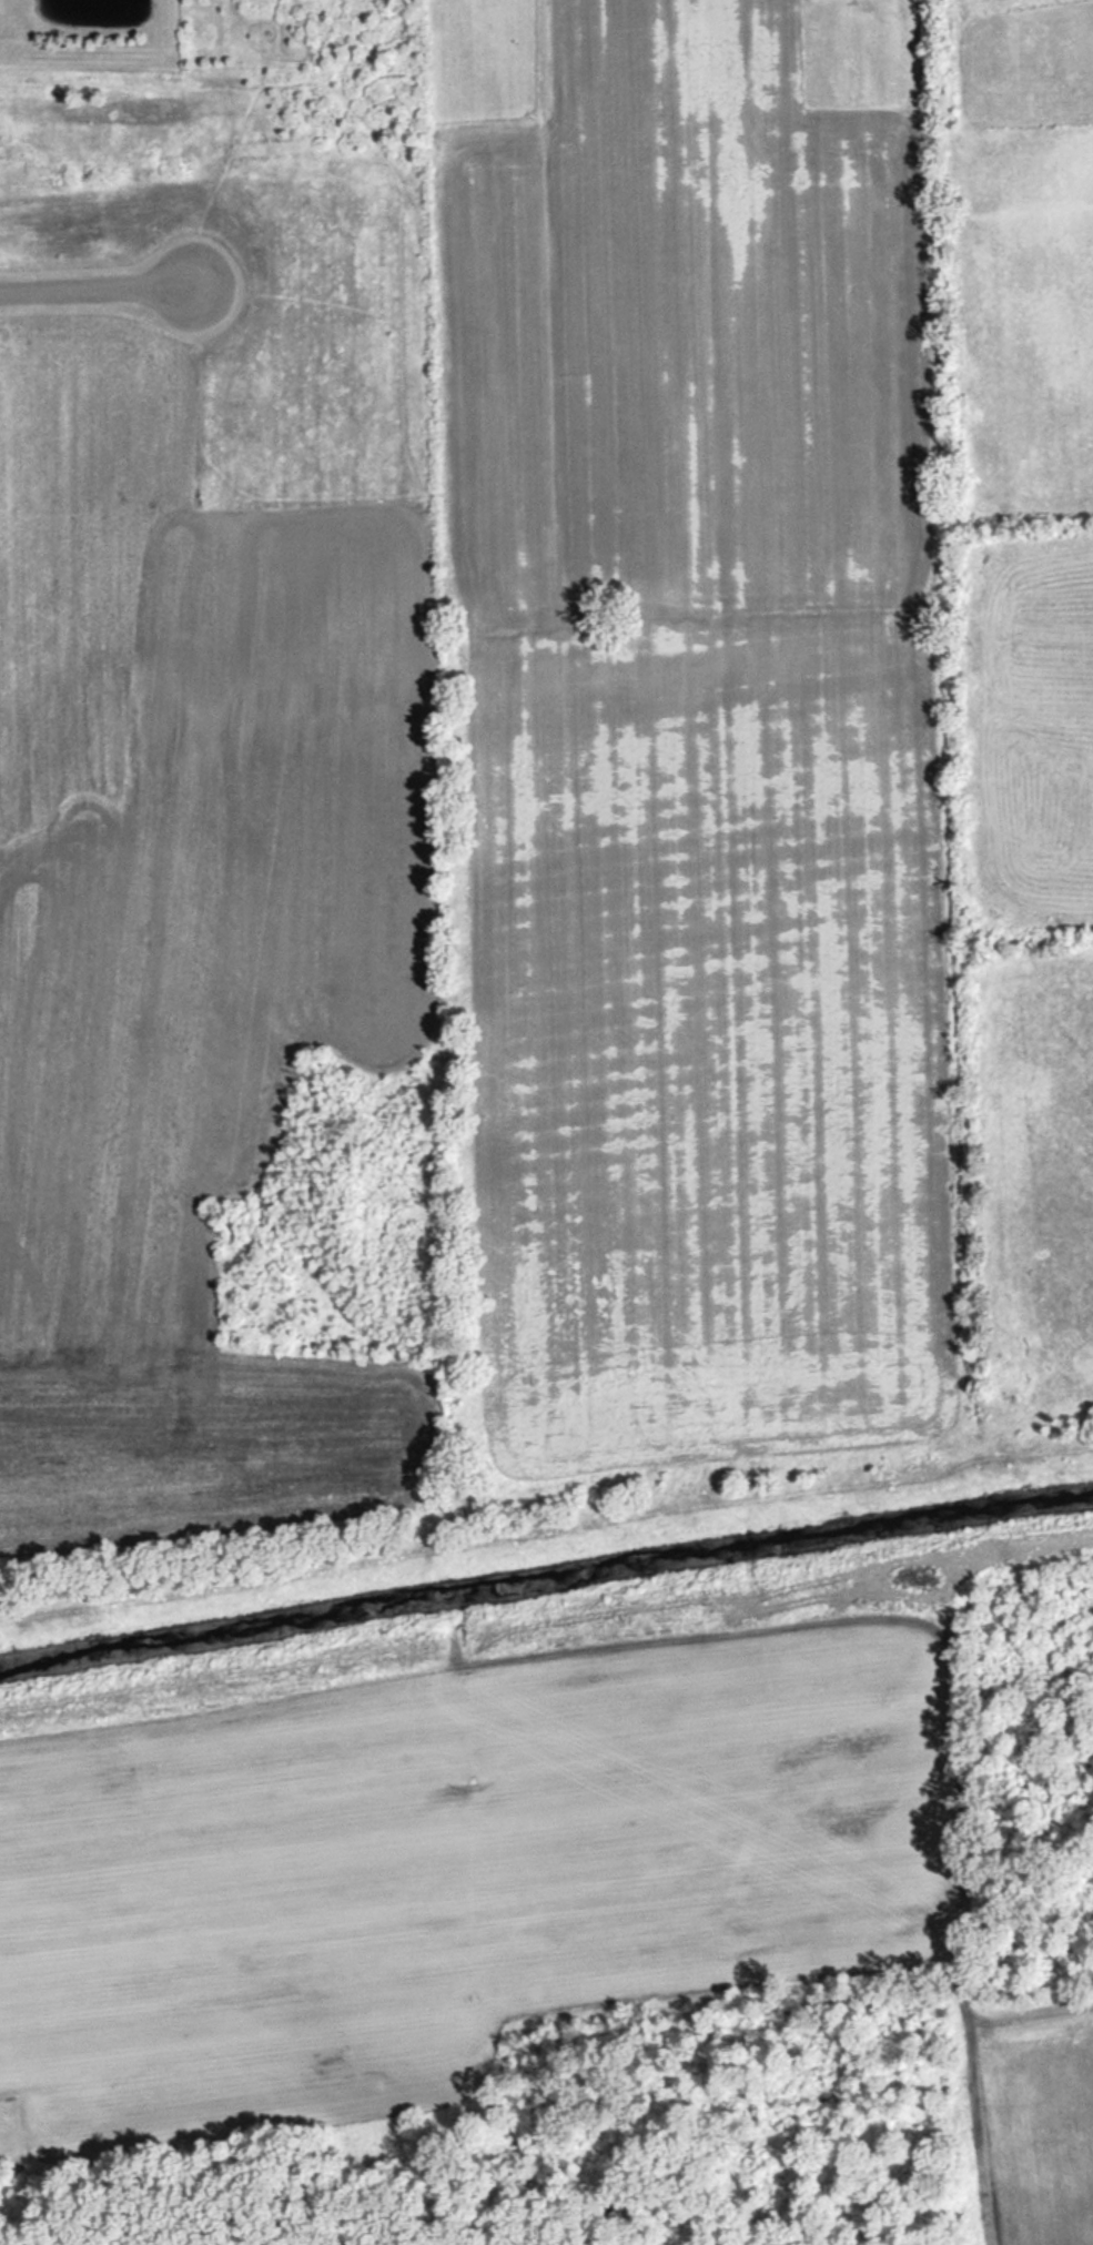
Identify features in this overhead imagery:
road: (100, 286)

